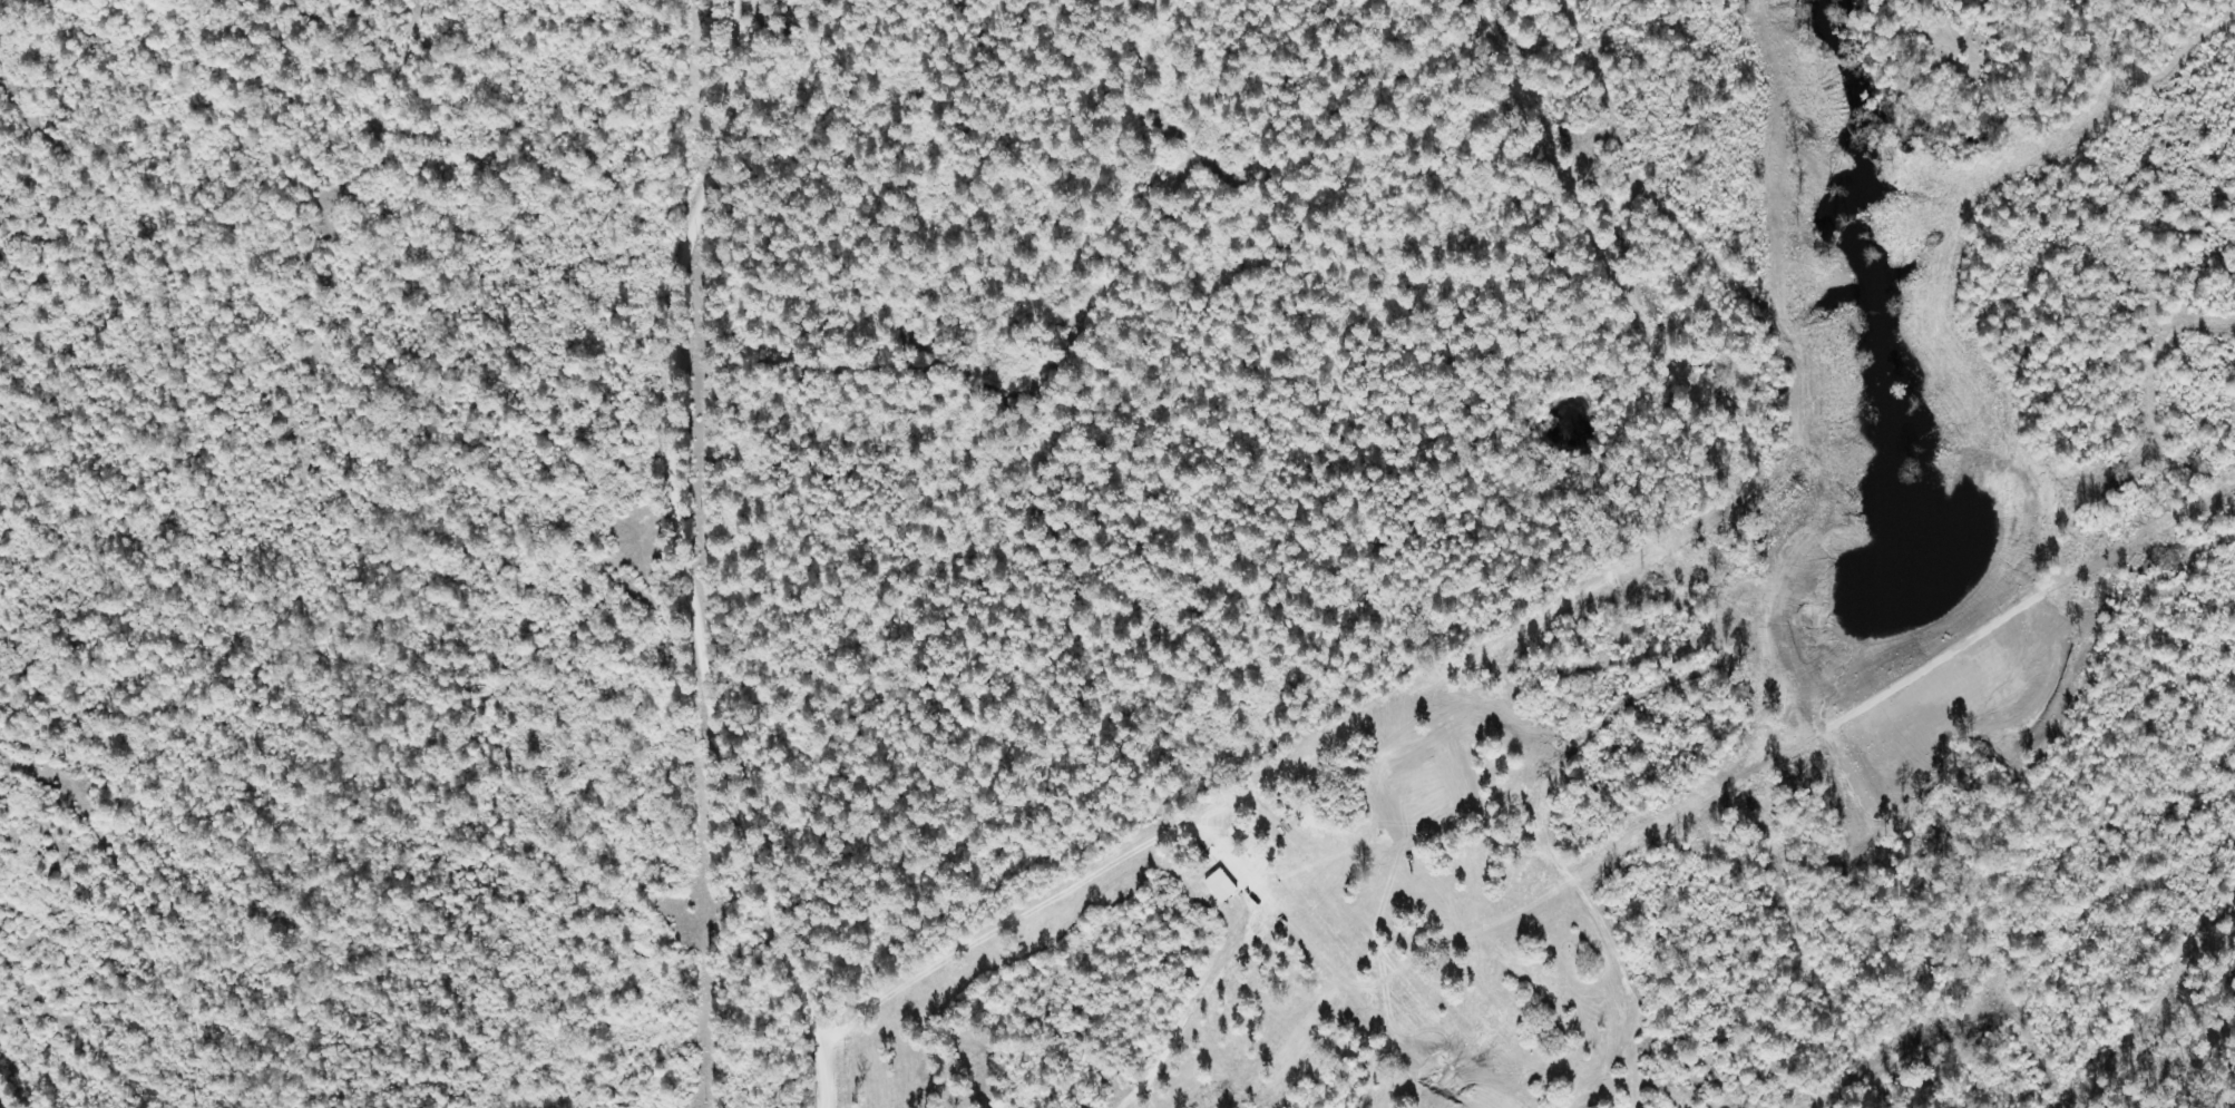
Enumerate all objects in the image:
road: (665, 563)

